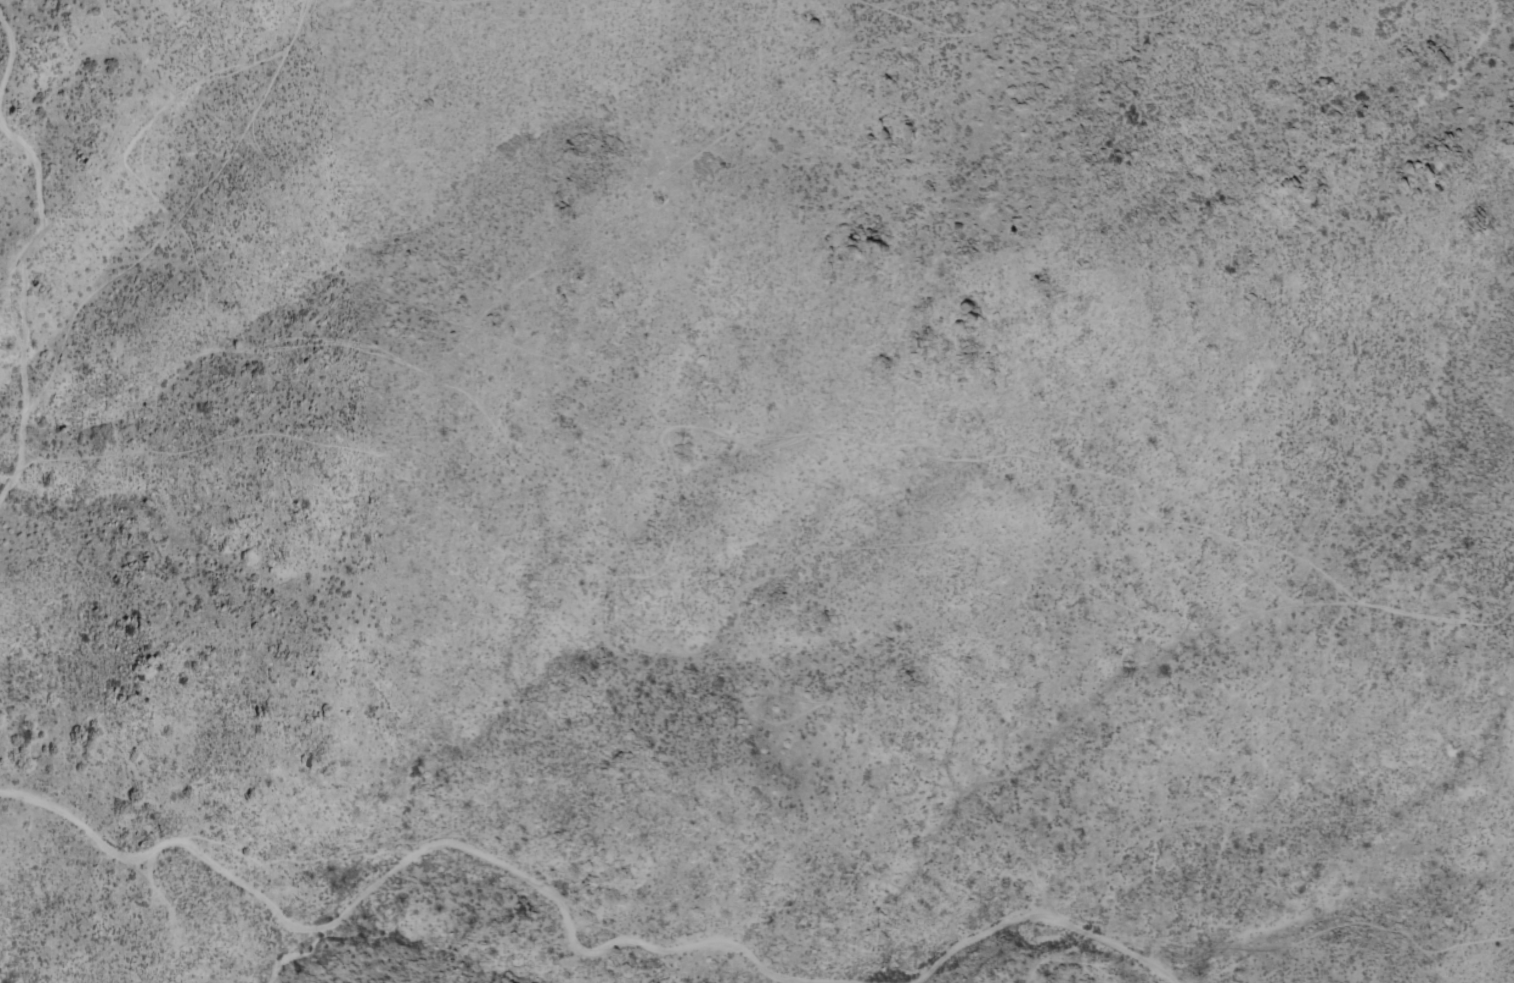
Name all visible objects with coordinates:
road: (562, 925)

